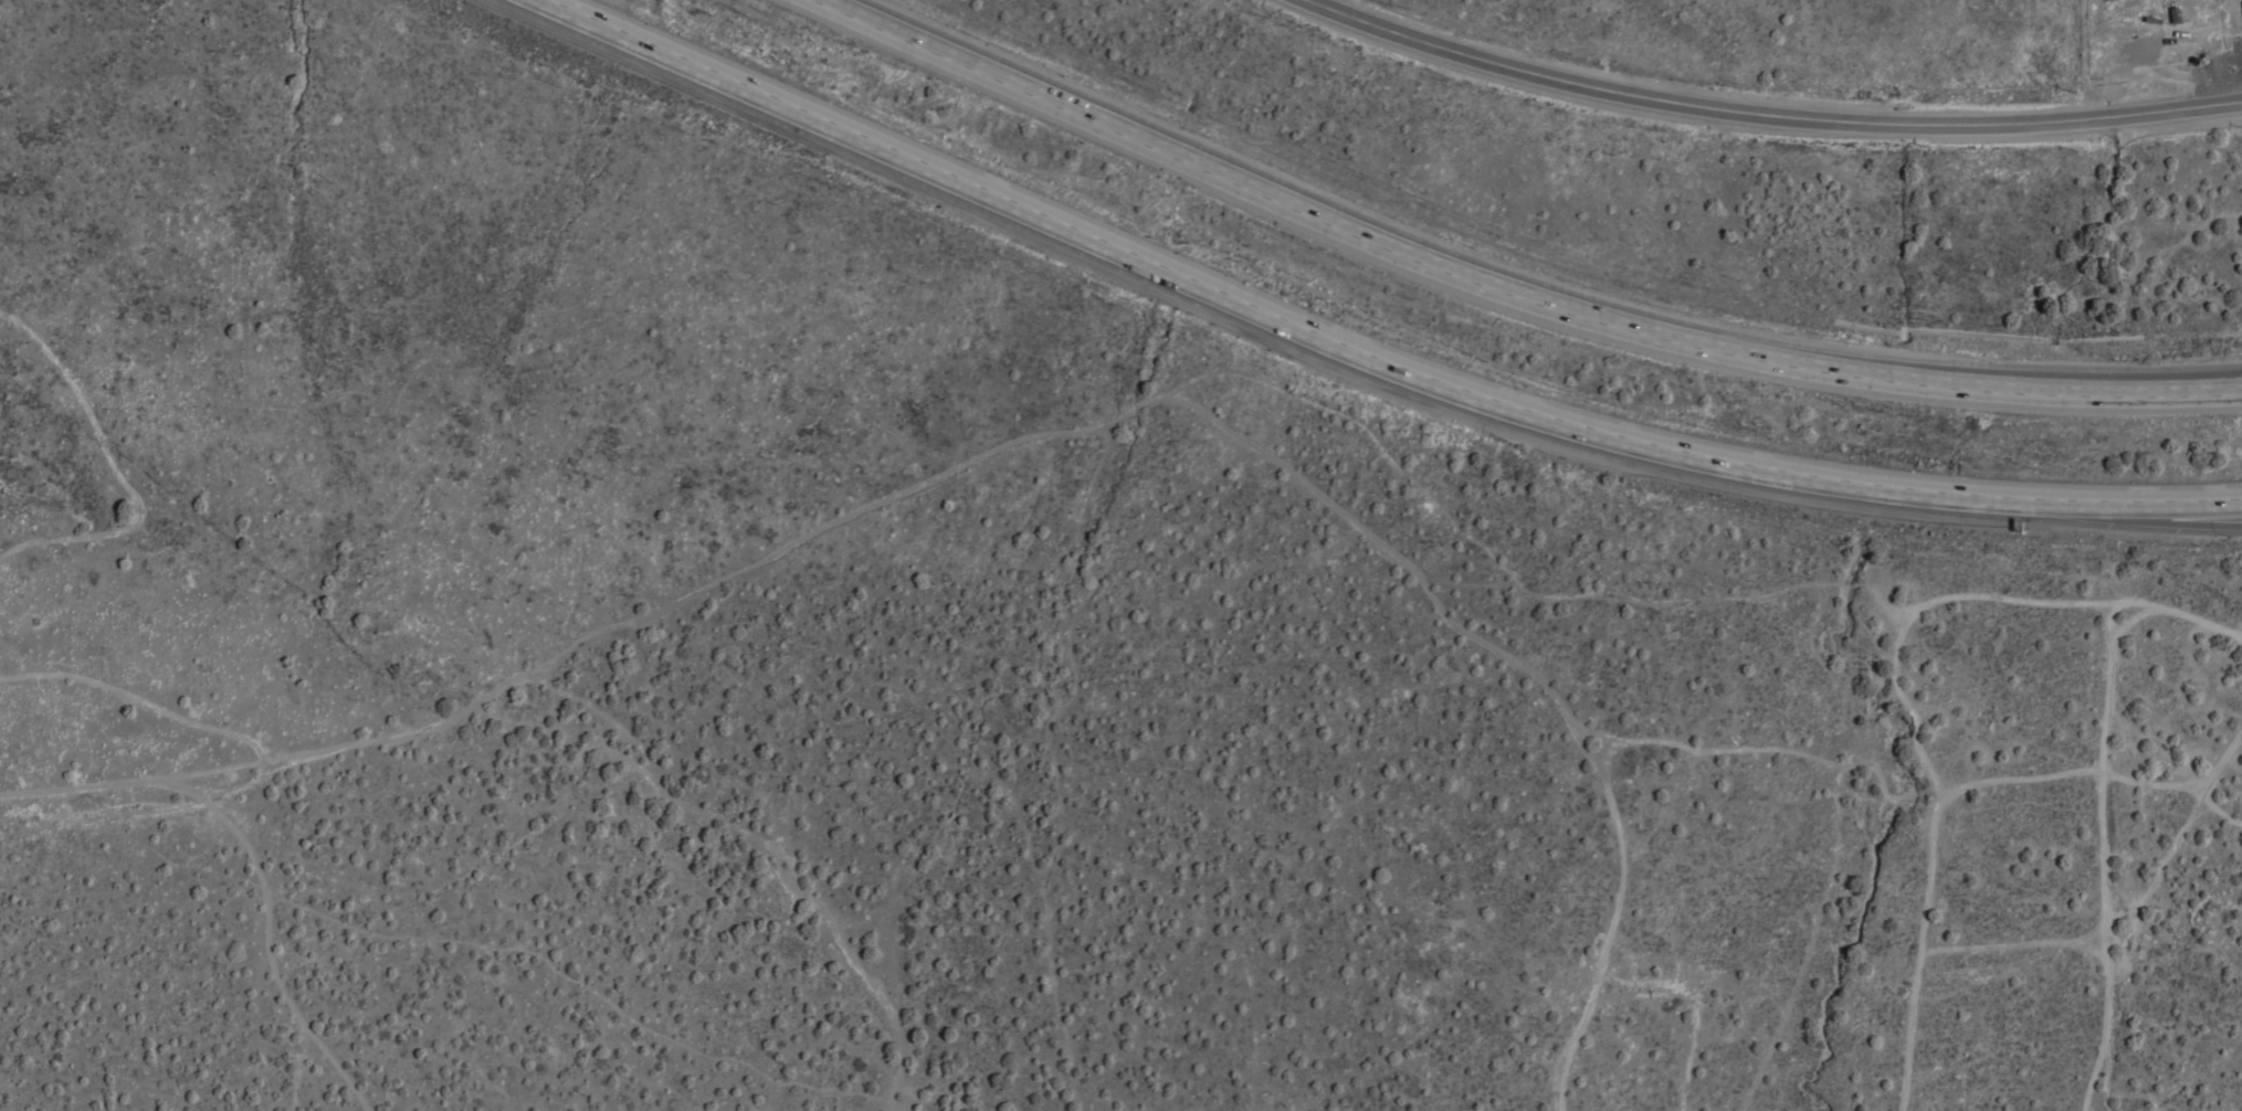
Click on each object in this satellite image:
building: (2241, 4)
building: (2197, 10)
road: (1769, 110)
road: (1502, 286)
road: (1273, 308)
road: (2191, 381)
road: (2136, 496)
road: (2136, 514)

